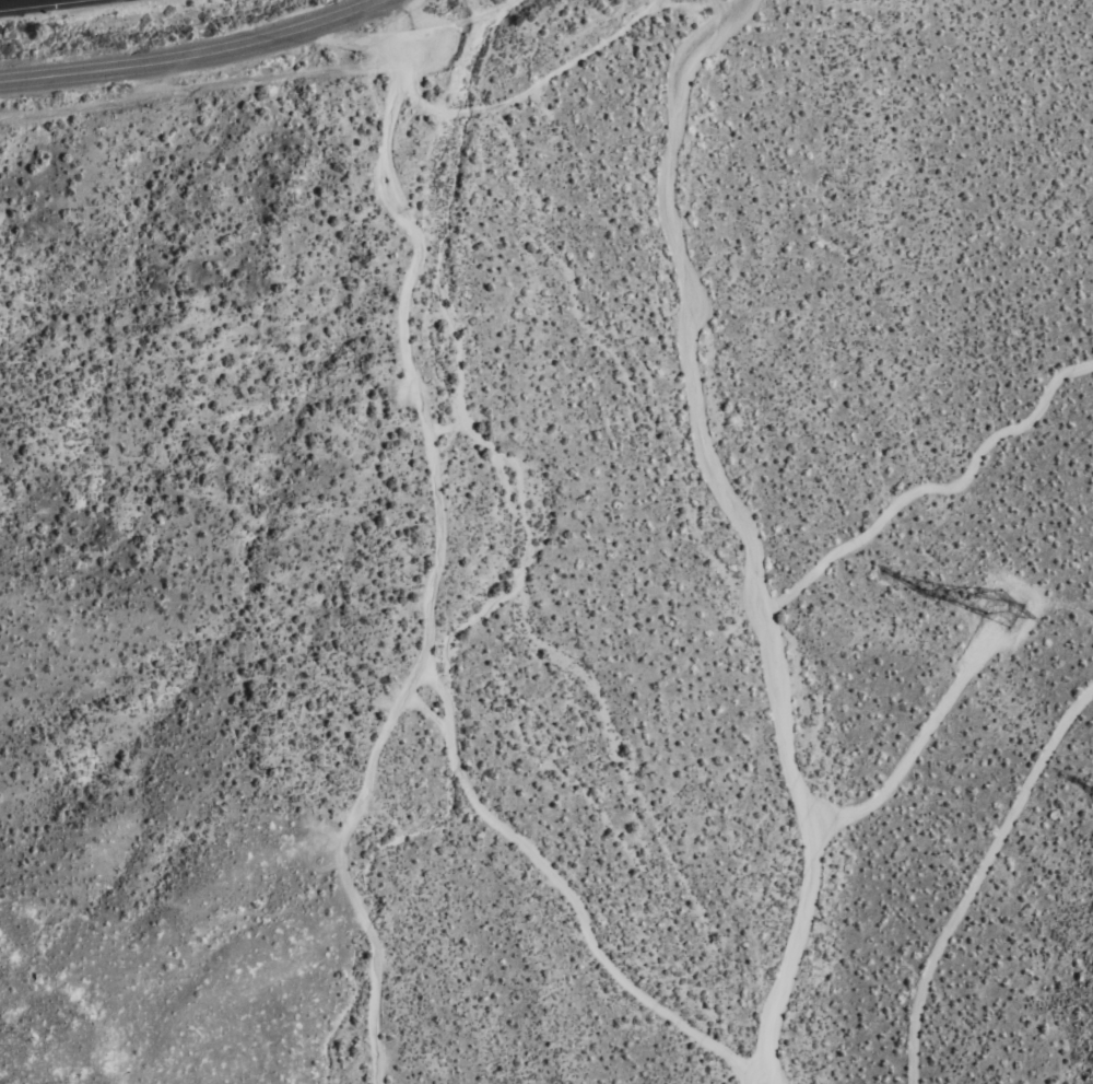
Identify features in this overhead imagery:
road: (708, 8)
road: (345, 15)
road: (154, 67)
road: (740, 531)
road: (436, 551)
power tower: (1025, 611)

